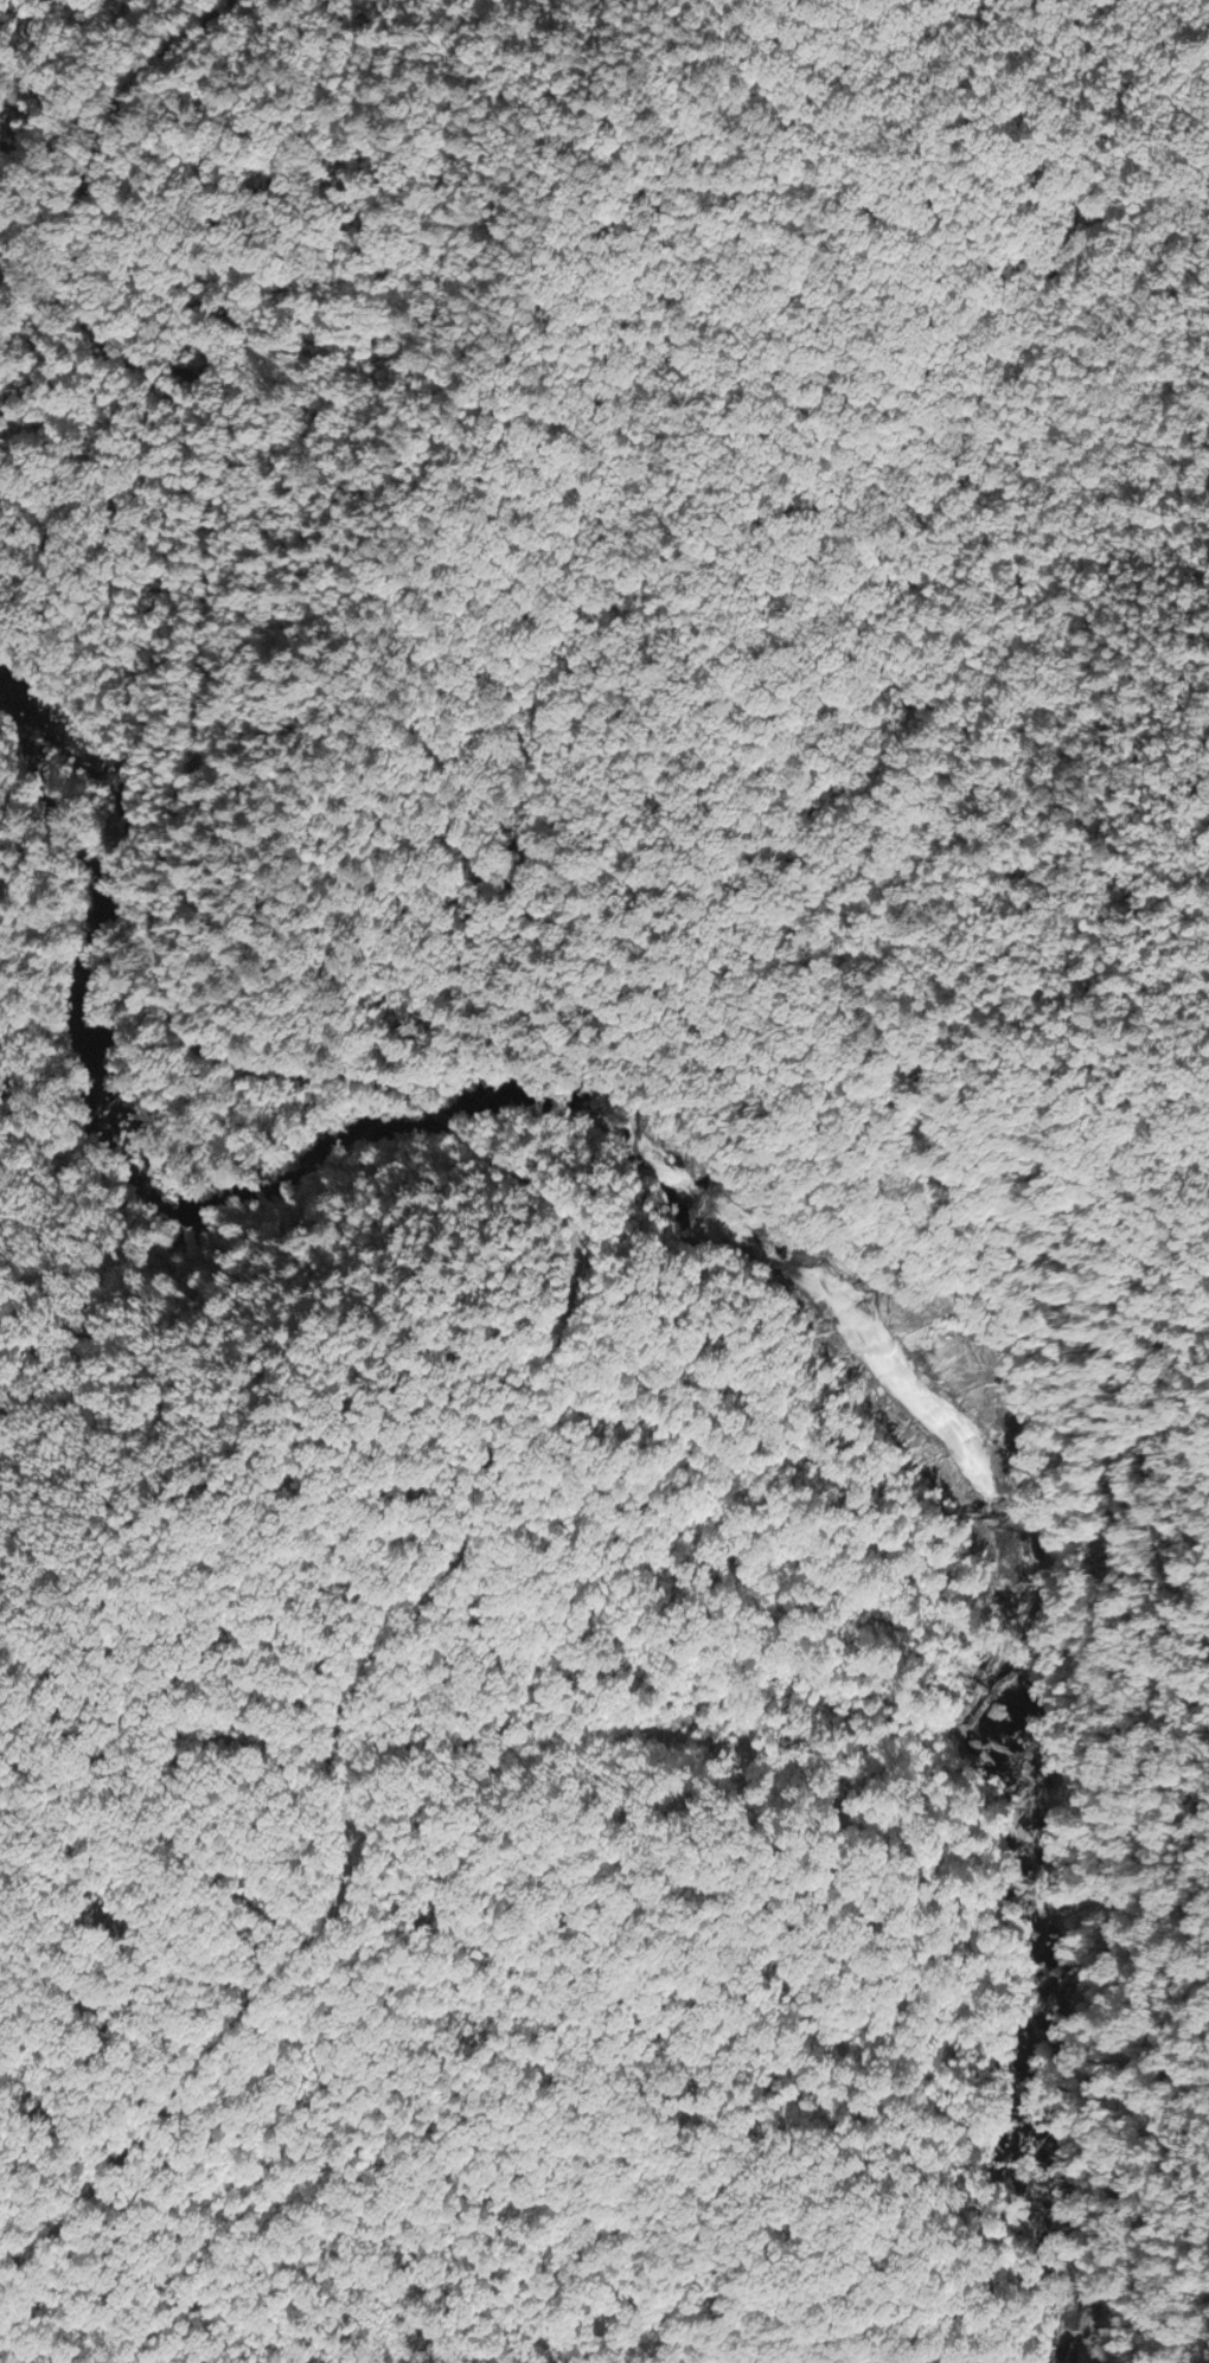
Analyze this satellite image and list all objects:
road: (226, 587)
road: (1191, 825)
road: (442, 1118)
river: (729, 1231)
road: (350, 1714)

